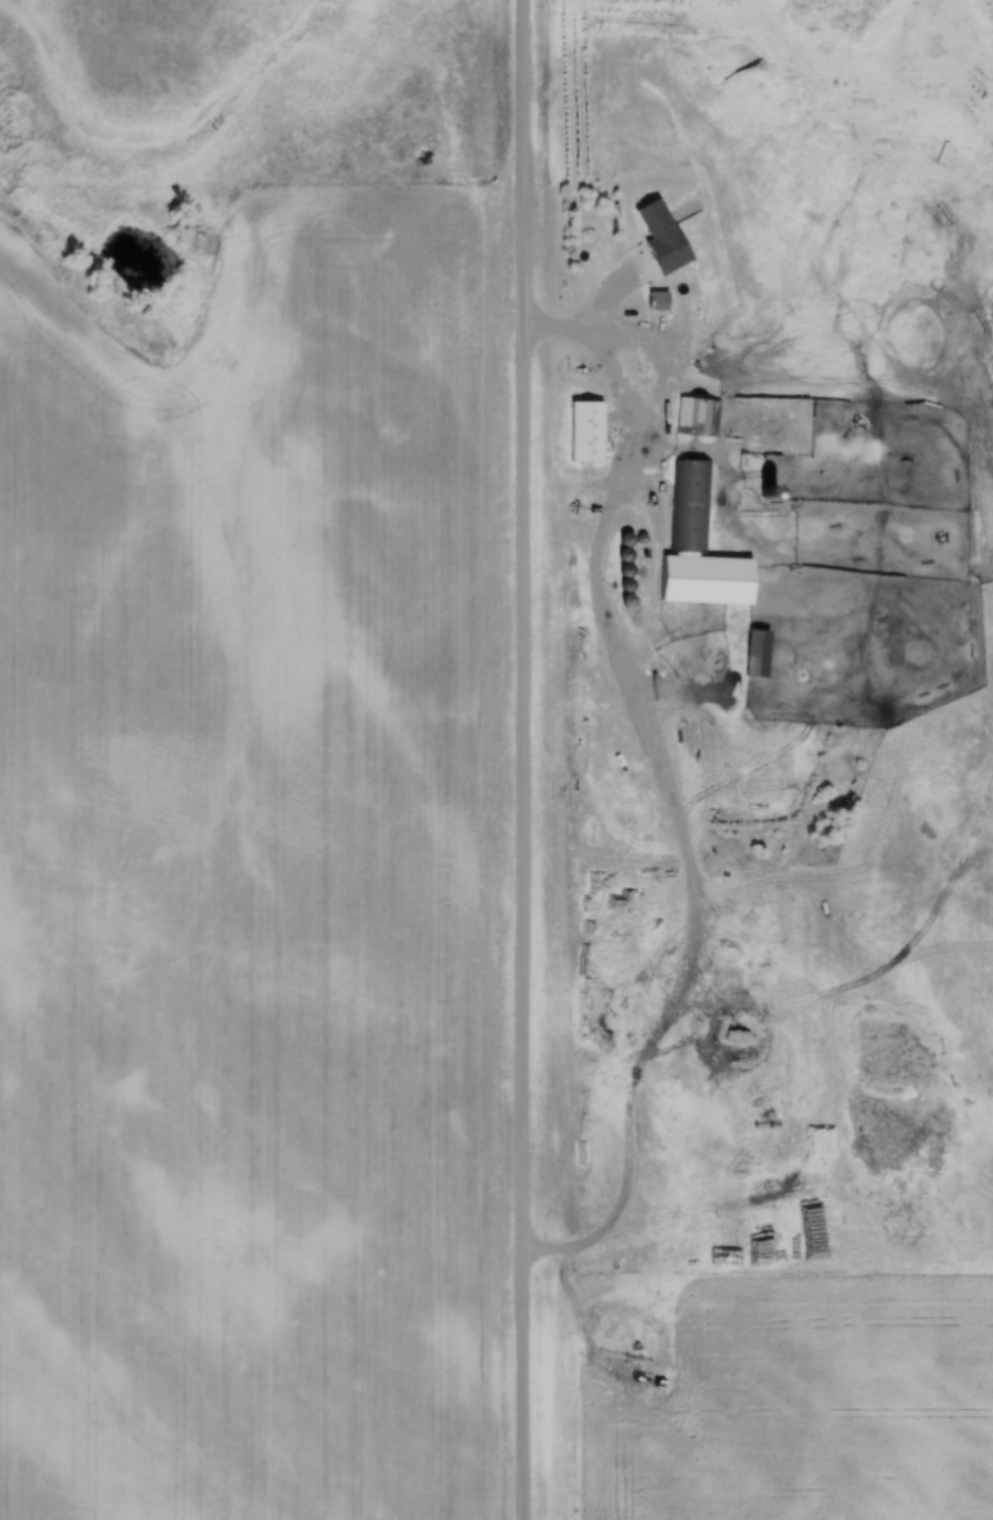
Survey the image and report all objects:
building: (657, 300)
building: (629, 306)
road: (611, 338)
building: (696, 417)
building: (585, 431)
building: (690, 505)
building: (625, 569)
building: (735, 571)
building: (627, 600)
building: (755, 653)
road: (525, 759)

